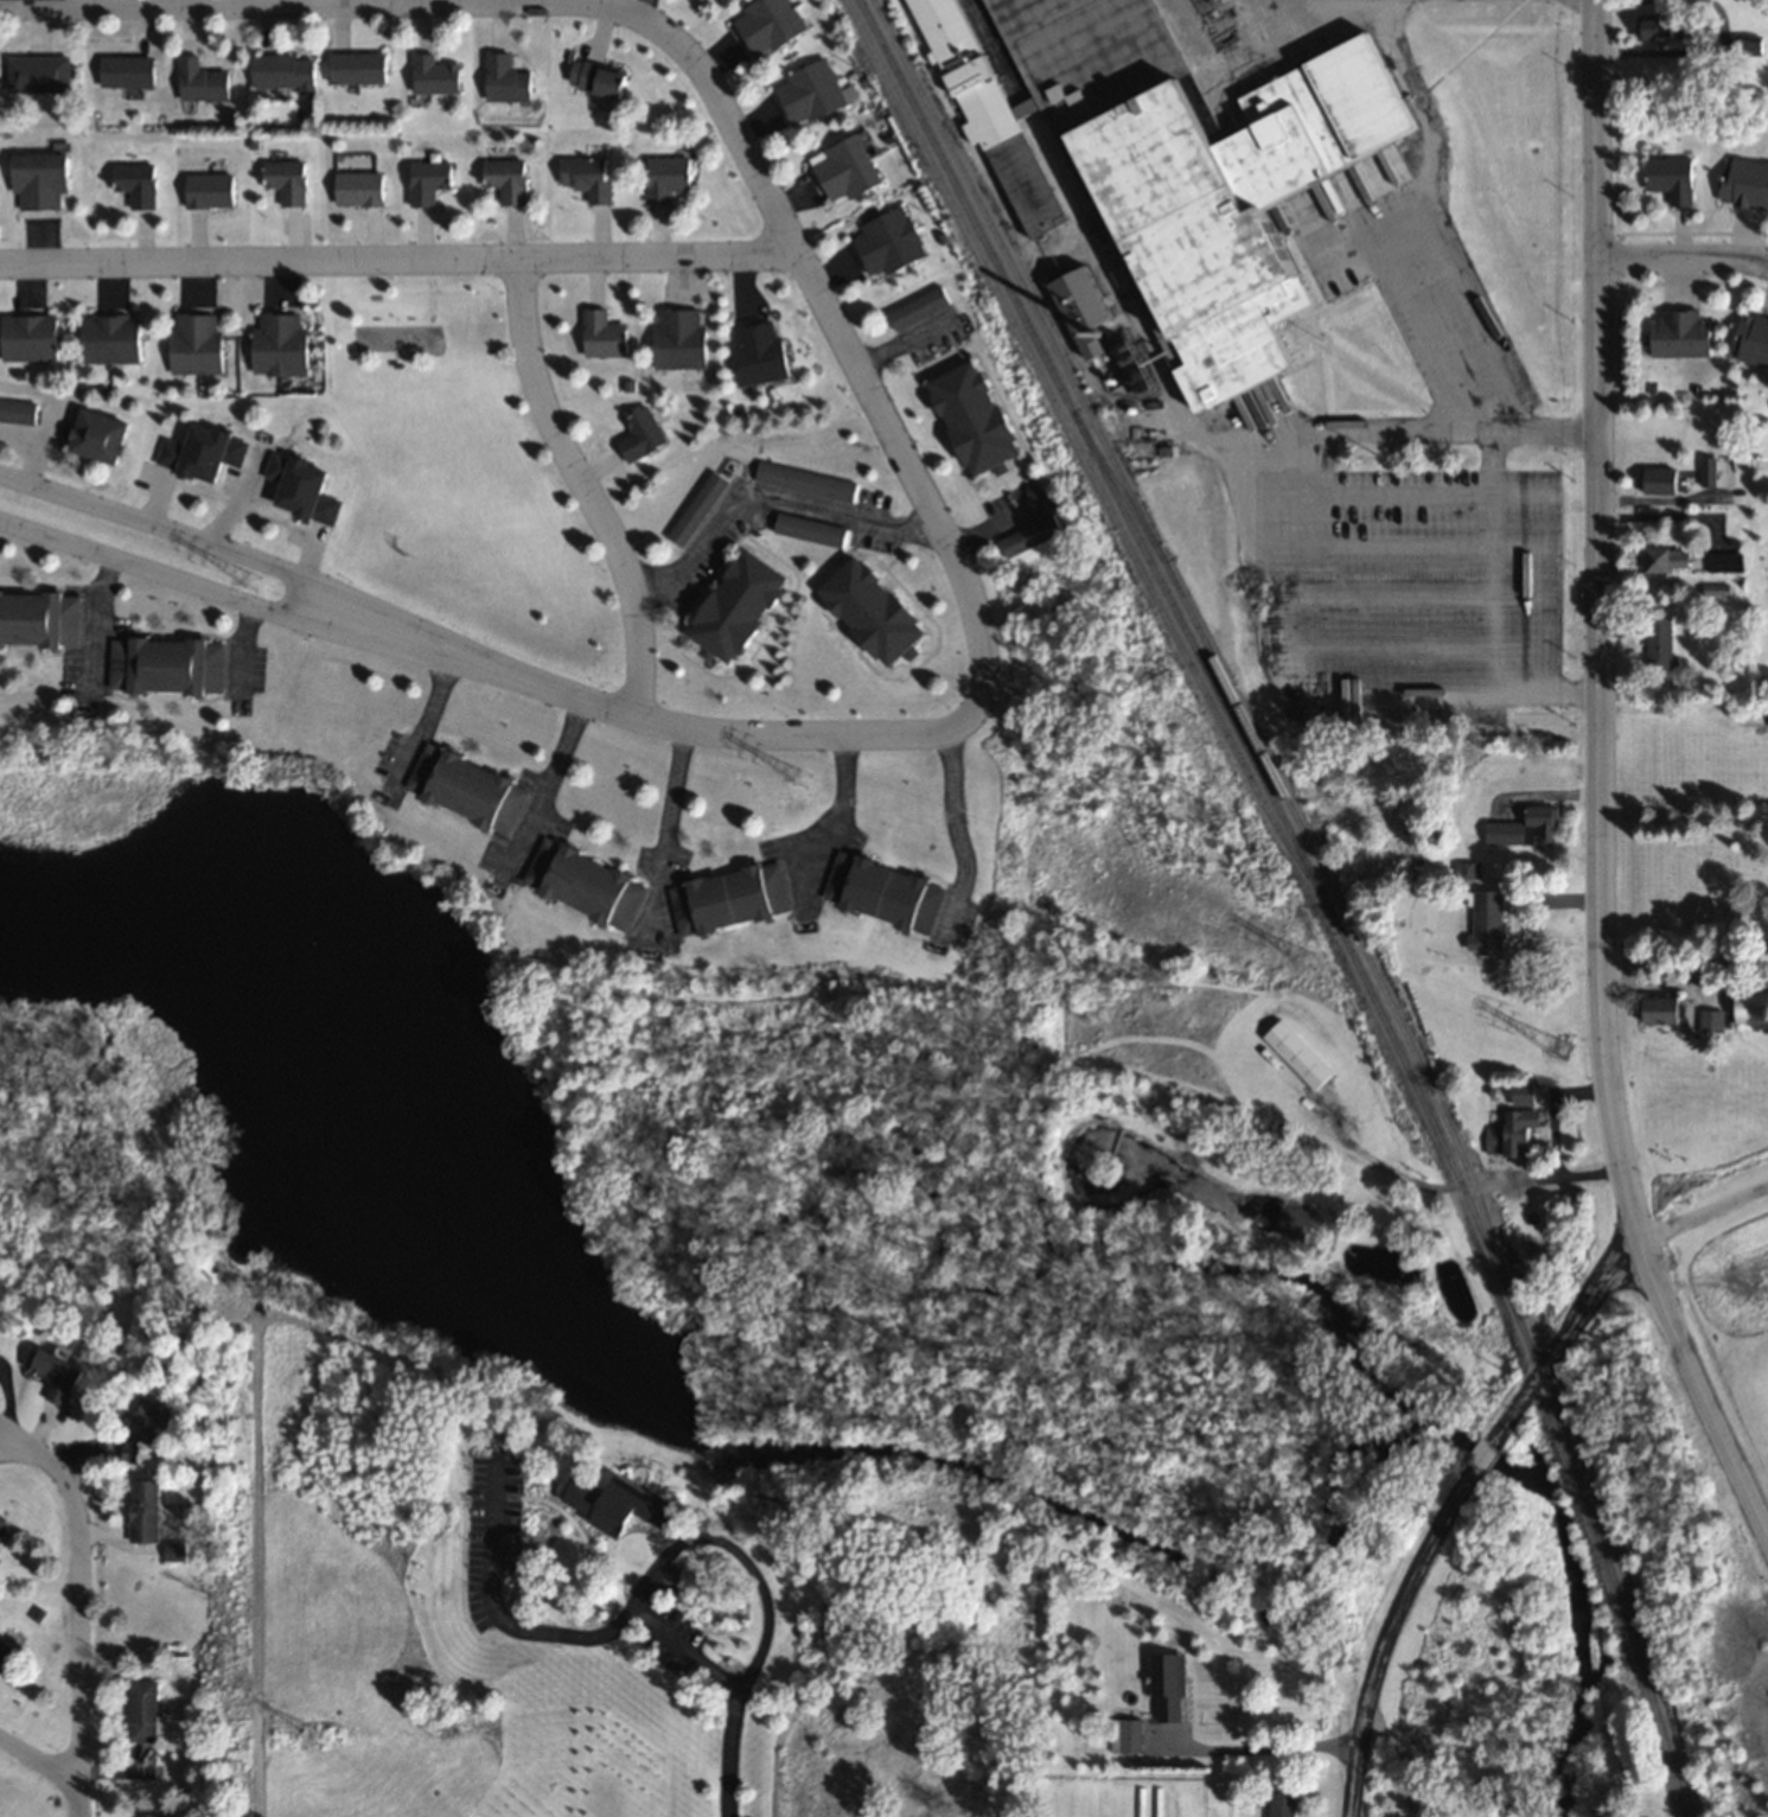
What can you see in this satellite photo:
road: (1320, 0)
road: (33, 4)
building: (767, 24)
building: (1660, 27)
building: (1099, 44)
road: (696, 65)
building: (359, 66)
building: (128, 70)
building: (285, 70)
building: (38, 72)
building: (436, 75)
building: (508, 78)
building: (600, 79)
building: (203, 81)
building: (810, 93)
building: (996, 109)
building: (844, 170)
building: (588, 177)
building: (666, 177)
building: (1672, 178)
building: (508, 179)
building: (40, 180)
building: (429, 180)
building: (288, 181)
building: (1744, 183)
building: (136, 184)
building: (360, 187)
building: (211, 190)
building: (1247, 203)
building: (888, 241)
road: (1421, 260)
road: (1683, 260)
road: (400, 261)
building: (1084, 300)
building: (918, 307)
building: (1680, 333)
building: (604, 334)
building: (28, 337)
building: (111, 339)
building: (681, 339)
building: (1753, 339)
building: (196, 343)
building: (280, 344)
building: (759, 352)
building: (18, 410)
building: (978, 417)
building: (642, 435)
building: (102, 436)
building: (203, 452)
railway: (1083, 455)
building: (1709, 471)
park: (457, 472)
building: (804, 480)
building: (1662, 480)
building: (302, 486)
road: (581, 489)
road: (762, 498)
building: (697, 508)
building: (809, 529)
road: (181, 535)
building: (1030, 536)
building: (1674, 559)
road: (173, 579)
power tower: (249, 580)
building: (742, 607)
road: (1258, 607)
building: (875, 611)
road: (1600, 618)
building: (39, 619)
building: (1658, 644)
railway: (1206, 645)
building: (167, 665)
road: (653, 723)
power tower: (805, 773)
building: (420, 783)
building: (479, 789)
building: (1526, 827)
road: (657, 834)
building: (596, 885)
railway: (1316, 887)
building: (883, 888)
building: (730, 897)
power tower: (1309, 952)
road: (1686, 963)
building: (1751, 1005)
building: (1666, 1007)
building: (1715, 1019)
power tower: (1562, 1048)
building: (1300, 1053)
building: (1530, 1091)
building: (1513, 1131)
road: (1704, 1209)
road: (1562, 1334)
building: (62, 1373)
road: (1699, 1385)
building: (147, 1430)
road: (1483, 1453)
river: (885, 1472)
building: (619, 1503)
building: (147, 1510)
building: (4, 1526)
road: (683, 1541)
road: (81, 1592)
road: (497, 1617)
road: (1390, 1633)
building: (7, 1655)
building: (1169, 1692)
building: (1224, 1709)
building: (145, 1710)
building: (1129, 1735)
road: (1268, 1746)
road: (732, 1753)
road: (40, 1760)
road: (82, 1799)
building: (1287, 1799)
building: (1119, 1802)
building: (1137, 1802)
building: (1155, 1802)
building: (1174, 1802)
building: (1193, 1802)
building: (147, 1815)

